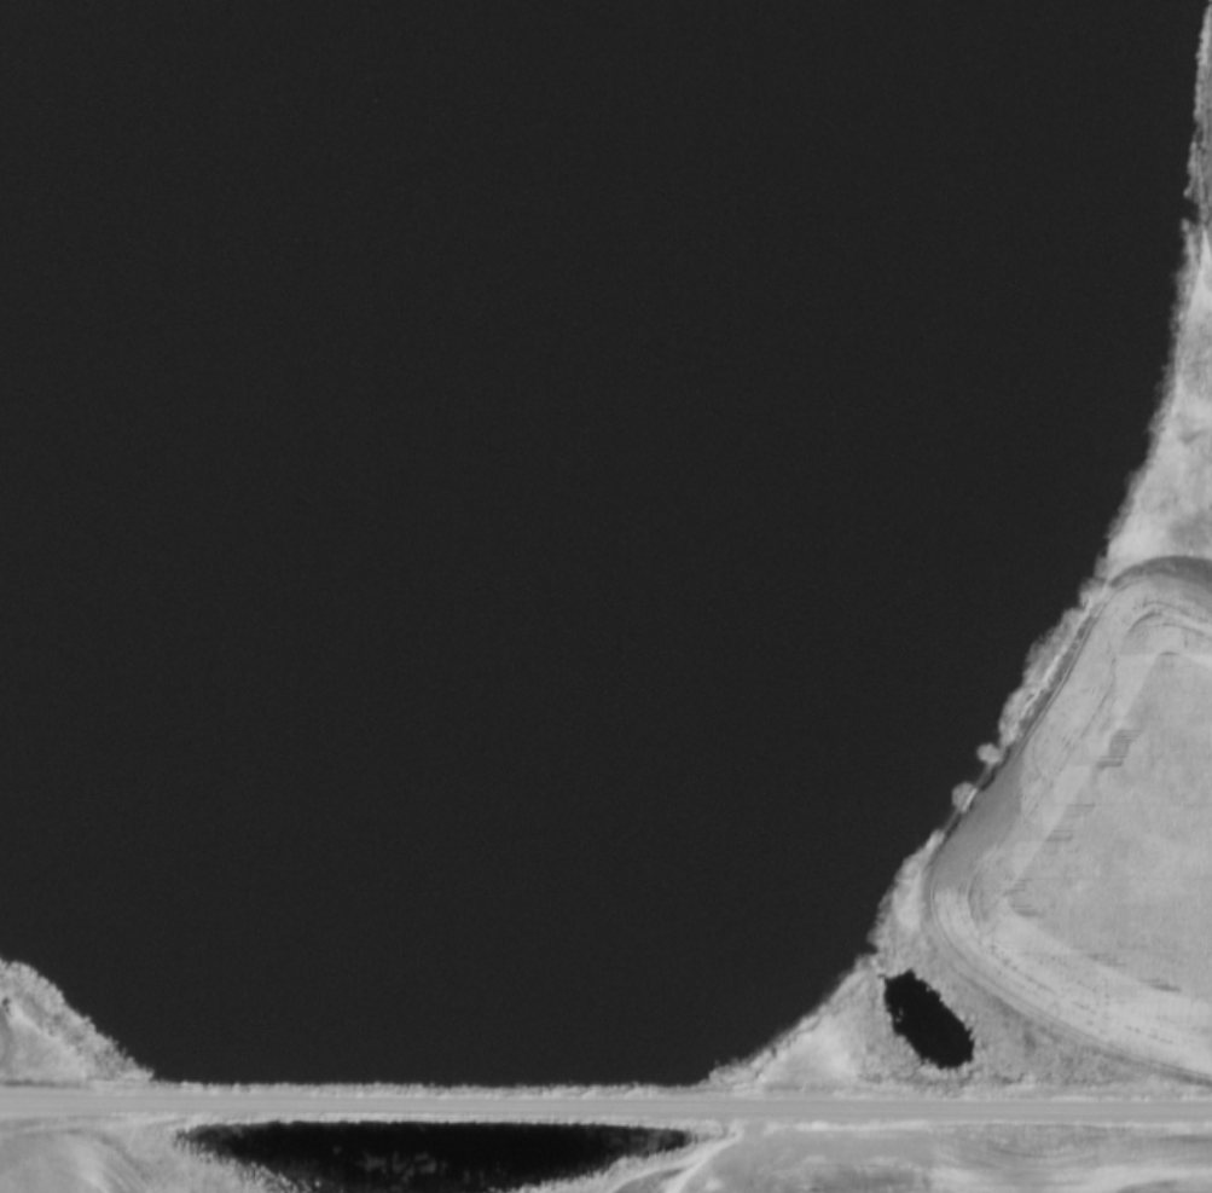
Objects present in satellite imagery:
road: (605, 1100)

